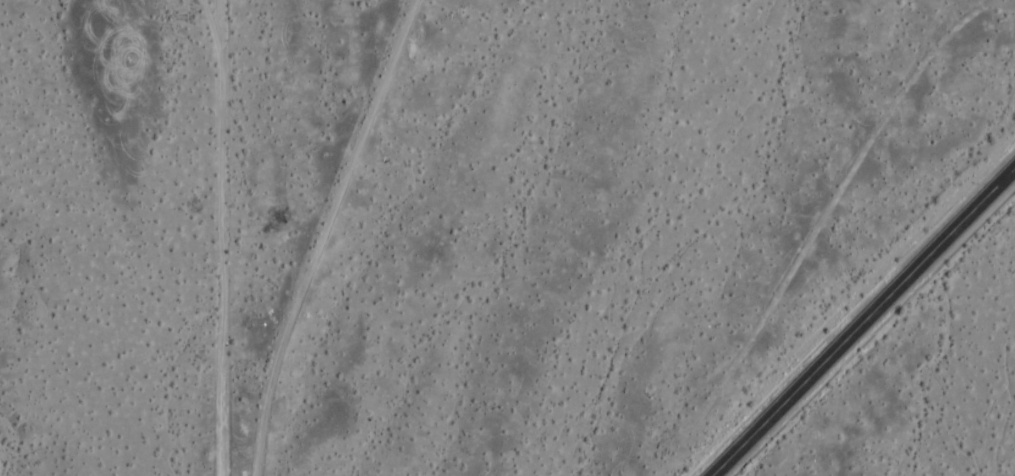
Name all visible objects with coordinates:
road: (862, 321)

